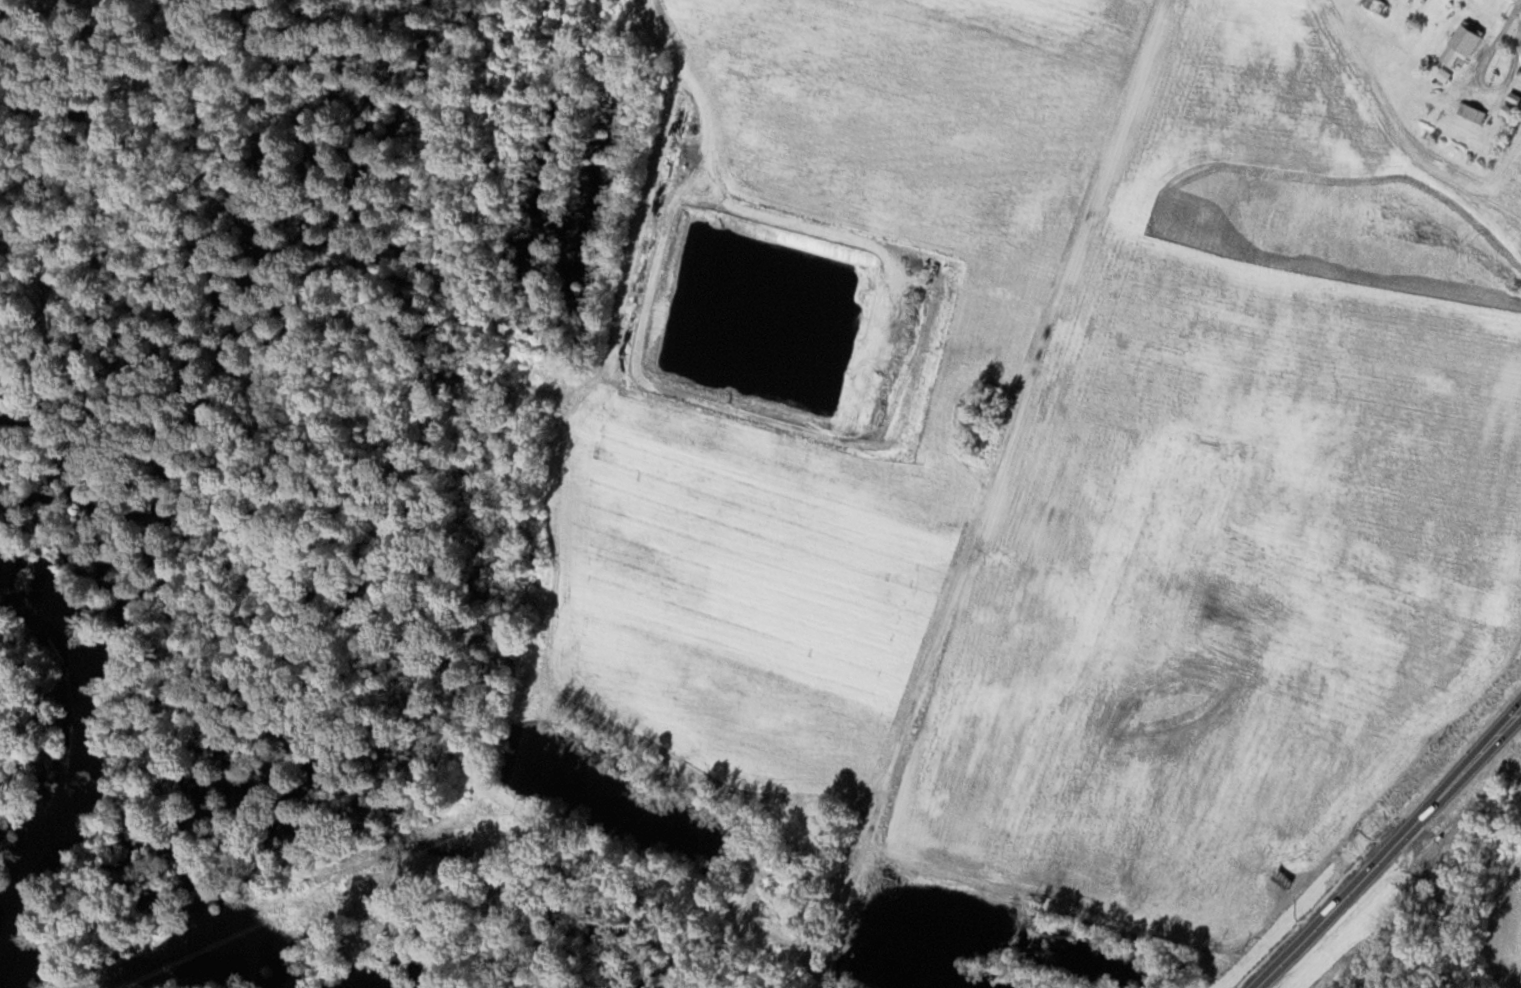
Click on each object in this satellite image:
building: (1372, 4)
building: (1460, 42)
road: (1386, 849)

